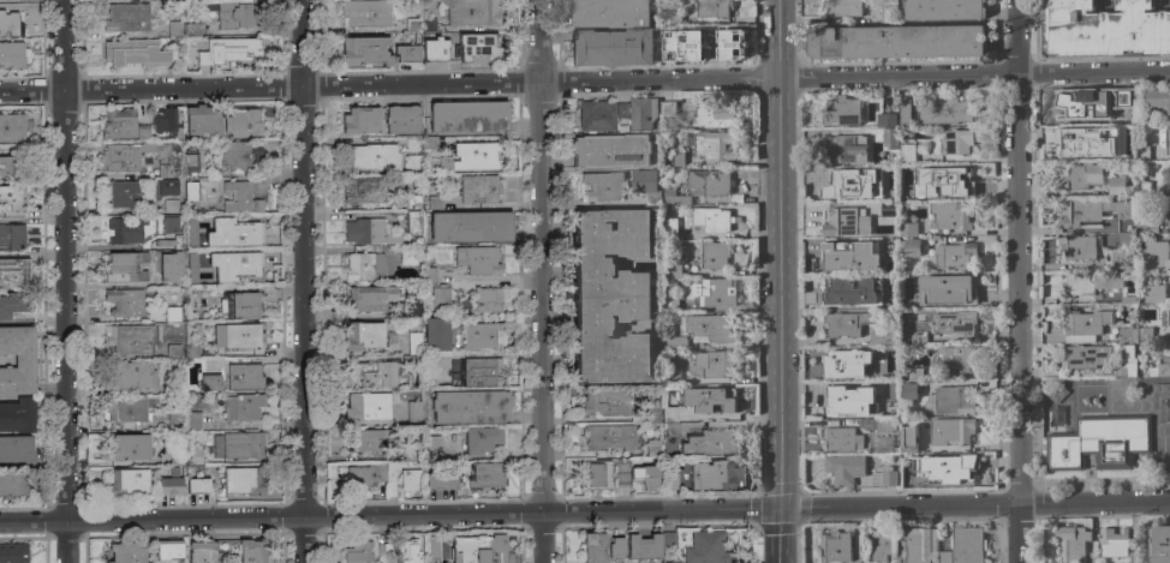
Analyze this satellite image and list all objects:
building: (10, 0)
building: (712, 7)
building: (844, 7)
building: (943, 10)
building: (470, 11)
building: (365, 12)
building: (610, 13)
building: (238, 14)
building: (885, 14)
building: (674, 16)
building: (125, 17)
building: (10, 24)
building: (420, 24)
building: (1106, 28)
building: (183, 29)
road: (1015, 36)
road: (778, 40)
building: (897, 42)
building: (684, 44)
building: (733, 44)
building: (613, 47)
building: (477, 48)
building: (229, 49)
building: (364, 49)
building: (435, 49)
building: (136, 52)
building: (407, 52)
building: (12, 55)
road: (1093, 72)
road: (897, 76)
road: (389, 84)
building: (1126, 97)
building: (1159, 100)
building: (667, 108)
building: (1080, 108)
building: (622, 109)
building: (842, 112)
building: (905, 112)
building: (945, 112)
building: (643, 113)
building: (712, 115)
building: (468, 116)
building: (599, 116)
building: (202, 119)
building: (402, 119)
building: (165, 120)
building: (360, 120)
building: (885, 120)
building: (243, 121)
building: (118, 122)
building: (12, 127)
building: (143, 131)
building: (889, 138)
building: (1169, 140)
building: (429, 142)
building: (955, 142)
building: (1084, 143)
building: (712, 145)
building: (611, 150)
building: (844, 150)
building: (909, 152)
building: (1142, 152)
building: (131, 154)
building: (237, 156)
building: (472, 156)
building: (370, 157)
building: (412, 158)
building: (677, 160)
building: (190, 163)
building: (6, 167)
building: (163, 170)
building: (885, 173)
building: (665, 174)
building: (1079, 176)
building: (1165, 176)
building: (960, 179)
building: (710, 182)
building: (646, 185)
building: (1117, 185)
building: (168, 186)
building: (602, 186)
building: (838, 187)
building: (480, 188)
building: (1142, 188)
building: (363, 190)
building: (121, 192)
building: (191, 192)
building: (11, 196)
building: (243, 196)
building: (676, 199)
building: (435, 202)
building: (1166, 204)
building: (171, 205)
building: (889, 209)
building: (1082, 211)
building: (951, 216)
building: (1124, 216)
building: (712, 220)
building: (412, 221)
building: (844, 222)
building: (171, 224)
building: (197, 224)
building: (1147, 224)
building: (121, 226)
building: (245, 227)
building: (470, 227)
building: (669, 229)
building: (908, 229)
road: (1043, 230)
road: (1090, 230)
building: (369, 232)
building: (893, 233)
building: (12, 235)
building: (169, 240)
building: (199, 241)
building: (884, 245)
building: (912, 247)
building: (1078, 247)
building: (408, 254)
road: (542, 254)
building: (715, 254)
building: (956, 256)
building: (1156, 256)
building: (848, 258)
building: (478, 259)
building: (1121, 259)
building: (196, 263)
building: (641, 265)
building: (126, 266)
building: (365, 266)
building: (171, 268)
building: (240, 269)
building: (673, 269)
building: (14, 272)
building: (429, 274)
building: (1169, 280)
road: (66, 281)
road: (302, 281)
building: (1092, 283)
building: (947, 289)
building: (853, 291)
building: (720, 293)
road: (778, 293)
building: (1153, 294)
building: (610, 295)
building: (368, 298)
building: (441, 298)
building: (486, 299)
building: (1127, 300)
building: (125, 301)
building: (13, 304)
building: (241, 304)
building: (670, 305)
building: (411, 309)
building: (172, 313)
road: (1017, 317)
building: (1168, 317)
building: (846, 324)
building: (959, 324)
building: (1085, 325)
building: (710, 328)
building: (436, 334)
building: (1128, 334)
building: (1144, 334)
building: (238, 335)
building: (363, 335)
building: (482, 336)
building: (127, 337)
building: (883, 337)
building: (671, 339)
building: (918, 340)
building: (414, 342)
building: (191, 348)
building: (174, 351)
building: (890, 353)
building: (1086, 357)
building: (954, 358)
building: (17, 360)
building: (406, 360)
building: (1124, 363)
building: (714, 364)
building: (843, 365)
building: (482, 371)
building: (1157, 371)
building: (370, 373)
building: (131, 375)
building: (915, 375)
building: (244, 377)
building: (670, 377)
building: (454, 379)
building: (210, 382)
building: (168, 385)
building: (884, 388)
building: (1159, 388)
building: (909, 390)
building: (710, 400)
building: (949, 401)
building: (608, 402)
building: (843, 402)
building: (470, 406)
building: (243, 407)
building: (126, 408)
building: (653, 411)
building: (413, 413)
building: (668, 413)
building: (18, 414)
building: (1164, 414)
building: (364, 419)
building: (637, 419)
building: (192, 420)
building: (174, 421)
building: (884, 425)
building: (951, 431)
building: (609, 436)
building: (480, 438)
building: (842, 439)
building: (908, 439)
building: (710, 442)
building: (879, 442)
building: (1099, 443)
building: (239, 444)
building: (127, 447)
building: (434, 447)
building: (16, 448)
building: (651, 448)
building: (411, 453)
building: (193, 456)
building: (177, 459)
building: (843, 468)
building: (947, 468)
building: (174, 471)
building: (596, 474)
building: (712, 474)
building: (374, 475)
building: (485, 475)
building: (646, 475)
building: (884, 477)
building: (243, 479)
building: (410, 479)
building: (441, 480)
building: (670, 480)
building: (127, 481)
building: (12, 485)
building: (169, 485)
building: (197, 485)
traffic signals: (777, 507)
road: (584, 509)
road: (777, 534)
road: (542, 537)
building: (668, 539)
building: (1115, 544)
building: (1159, 544)
building: (920, 545)
building: (966, 545)
building: (1073, 545)
building: (615, 546)
building: (643, 546)
building: (593, 547)
building: (706, 547)
building: (834, 547)
building: (168, 549)
building: (432, 549)
building: (477, 549)
building: (881, 549)
building: (249, 550)
building: (208, 551)
building: (357, 551)
building: (399, 551)
building: (13, 552)
building: (126, 552)
building: (943, 557)
building: (894, 559)

